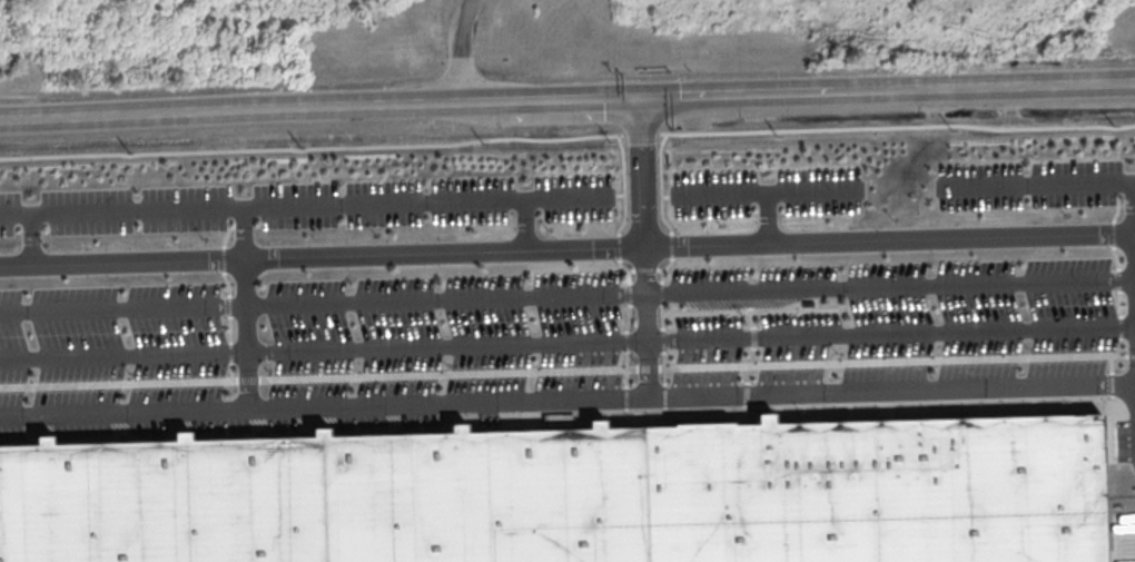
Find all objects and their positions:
road: (455, 51)
road: (567, 101)
road: (458, 121)
road: (654, 179)
road: (1047, 194)
road: (780, 203)
road: (307, 216)
road: (781, 229)
road: (540, 237)
road: (256, 244)
road: (45, 249)
road: (897, 252)
road: (329, 268)
road: (659, 285)
road: (897, 299)
road: (329, 316)
road: (659, 334)
road: (260, 343)
road: (897, 347)
road: (329, 363)
road: (659, 384)
road: (567, 411)
building: (586, 505)

